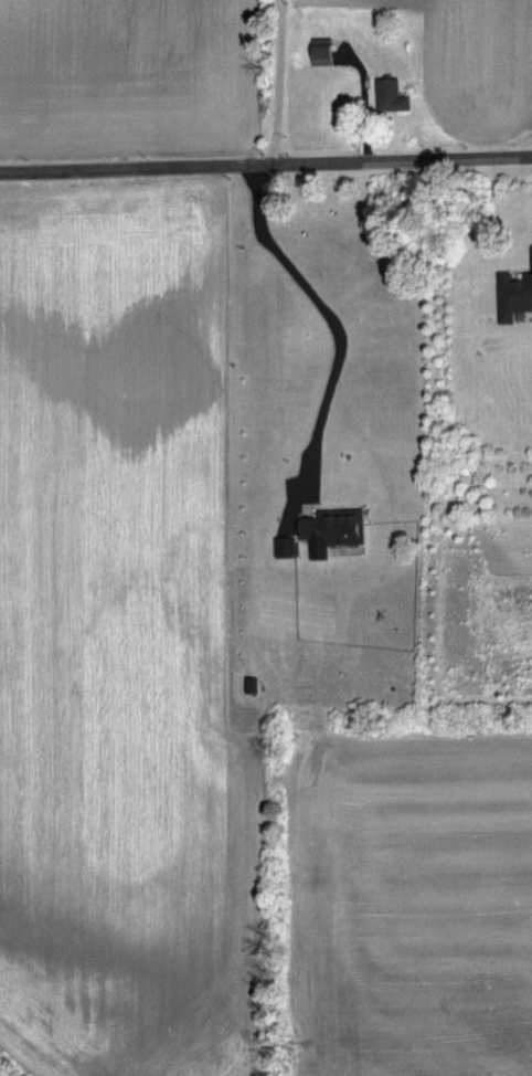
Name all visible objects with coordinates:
building: (323, 54)
road: (276, 81)
building: (390, 93)
road: (266, 162)
building: (513, 293)
road: (332, 319)
building: (331, 527)
building: (287, 545)

